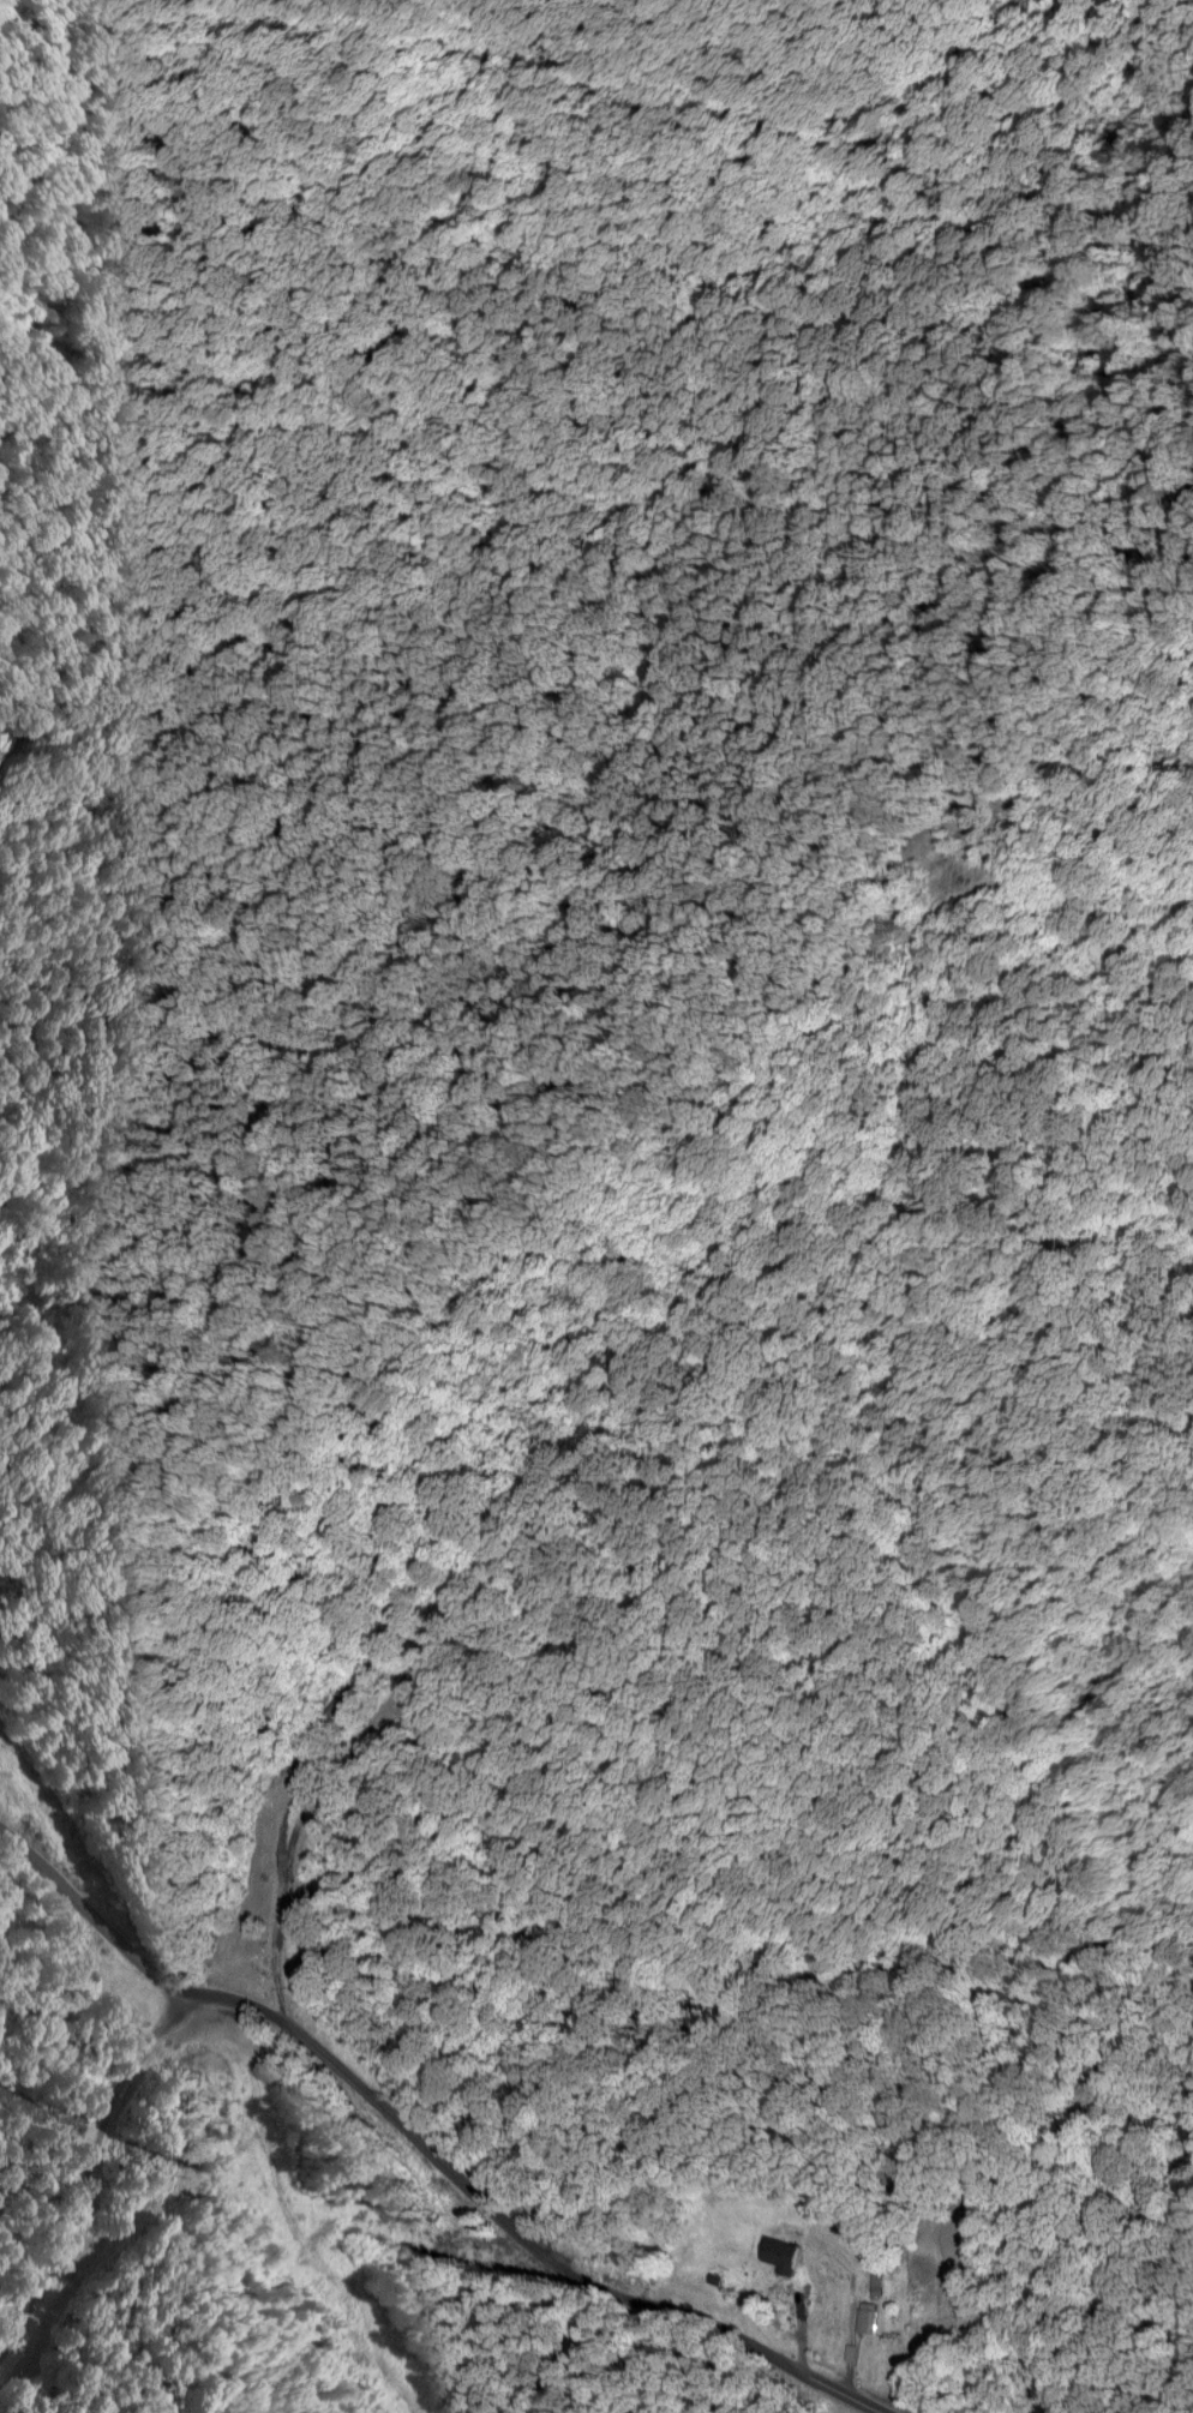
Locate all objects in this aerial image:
building: (340, 1700)
power tower: (211, 2083)
road: (437, 2142)
road: (84, 2168)
building: (775, 2282)
building: (881, 2282)
building: (871, 2315)

